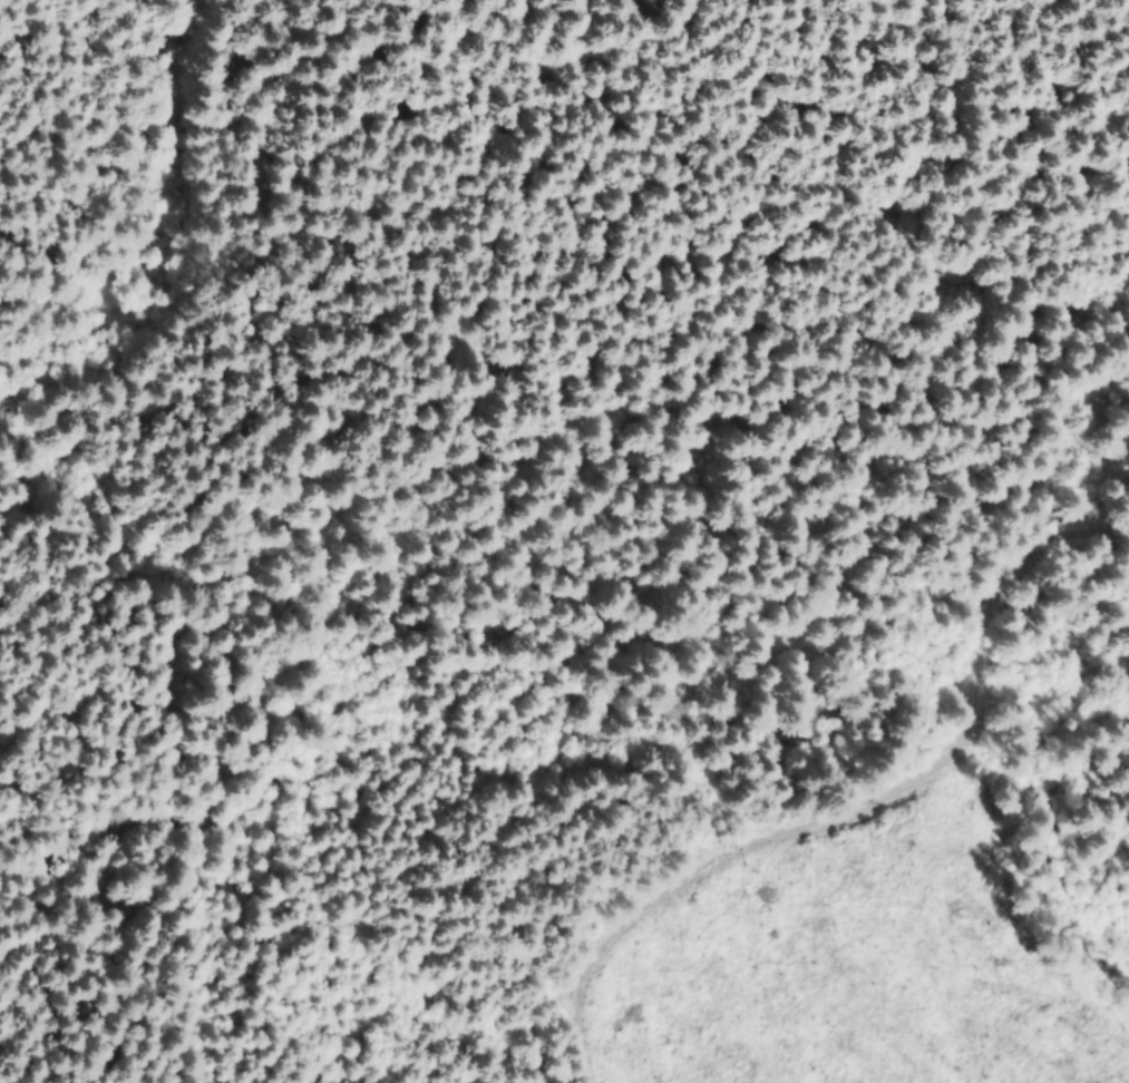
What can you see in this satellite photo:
road: (125, 170)

